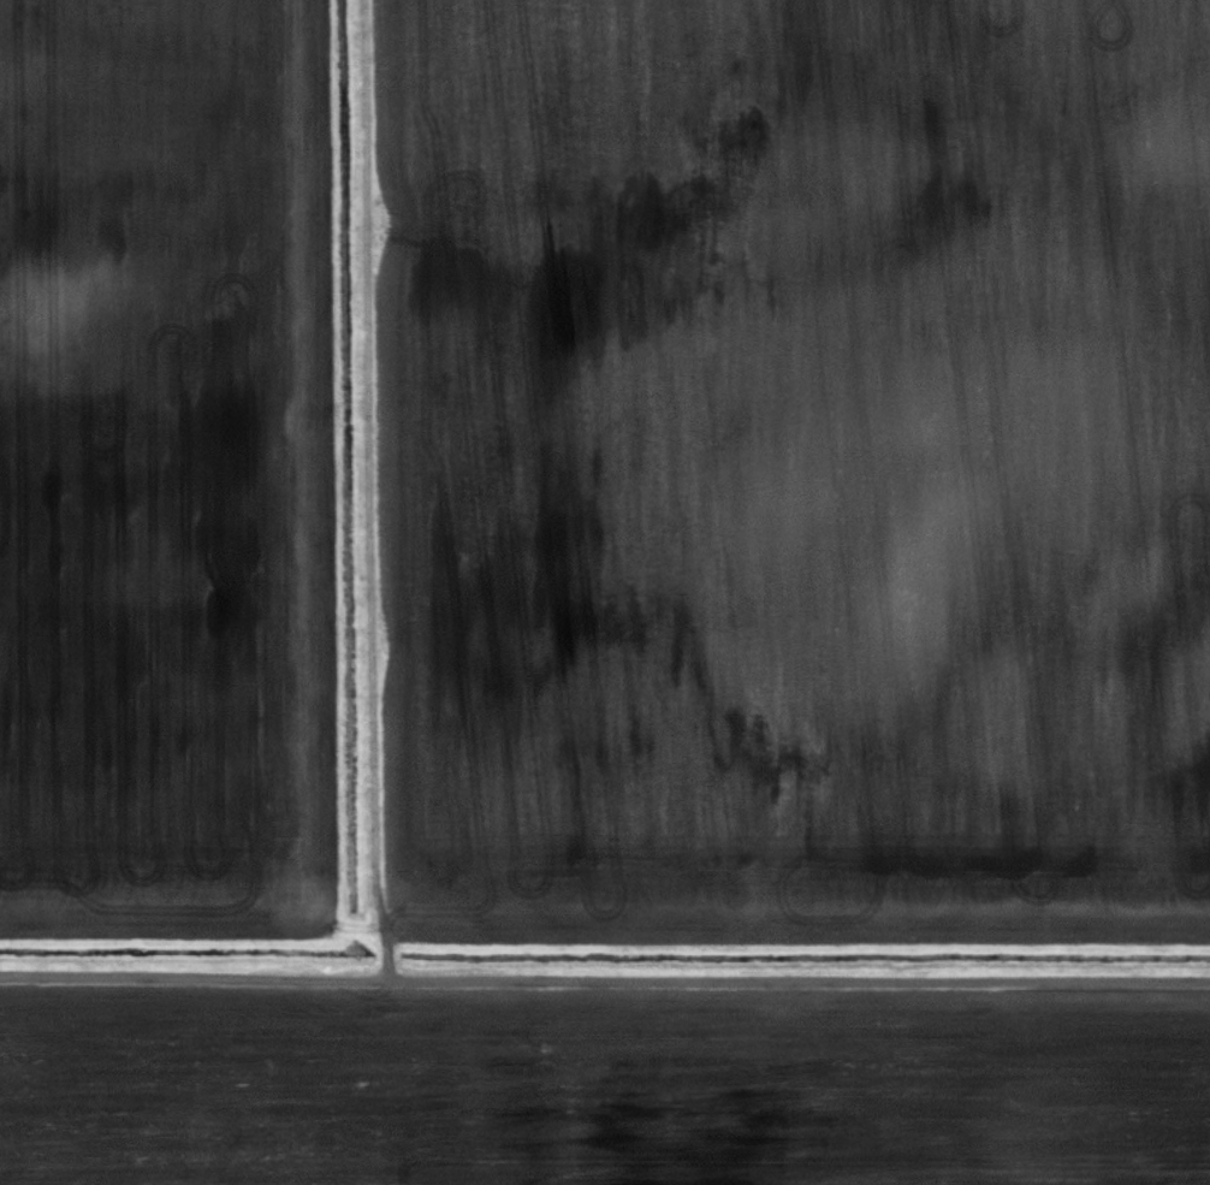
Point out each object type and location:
road: (604, 989)

